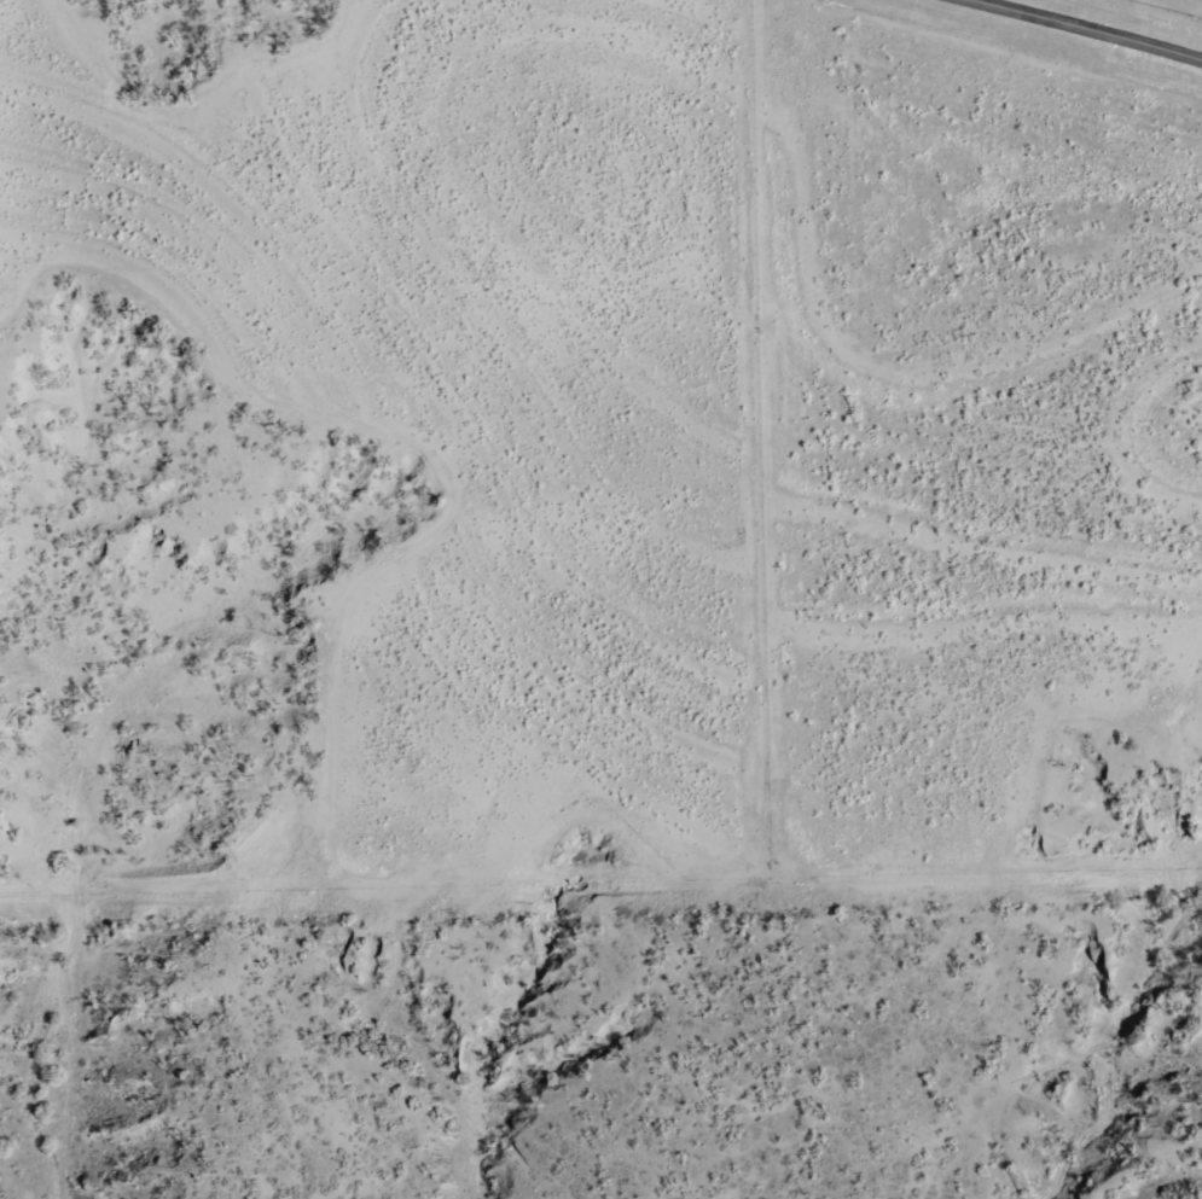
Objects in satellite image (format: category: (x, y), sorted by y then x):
road: (1090, 29)

